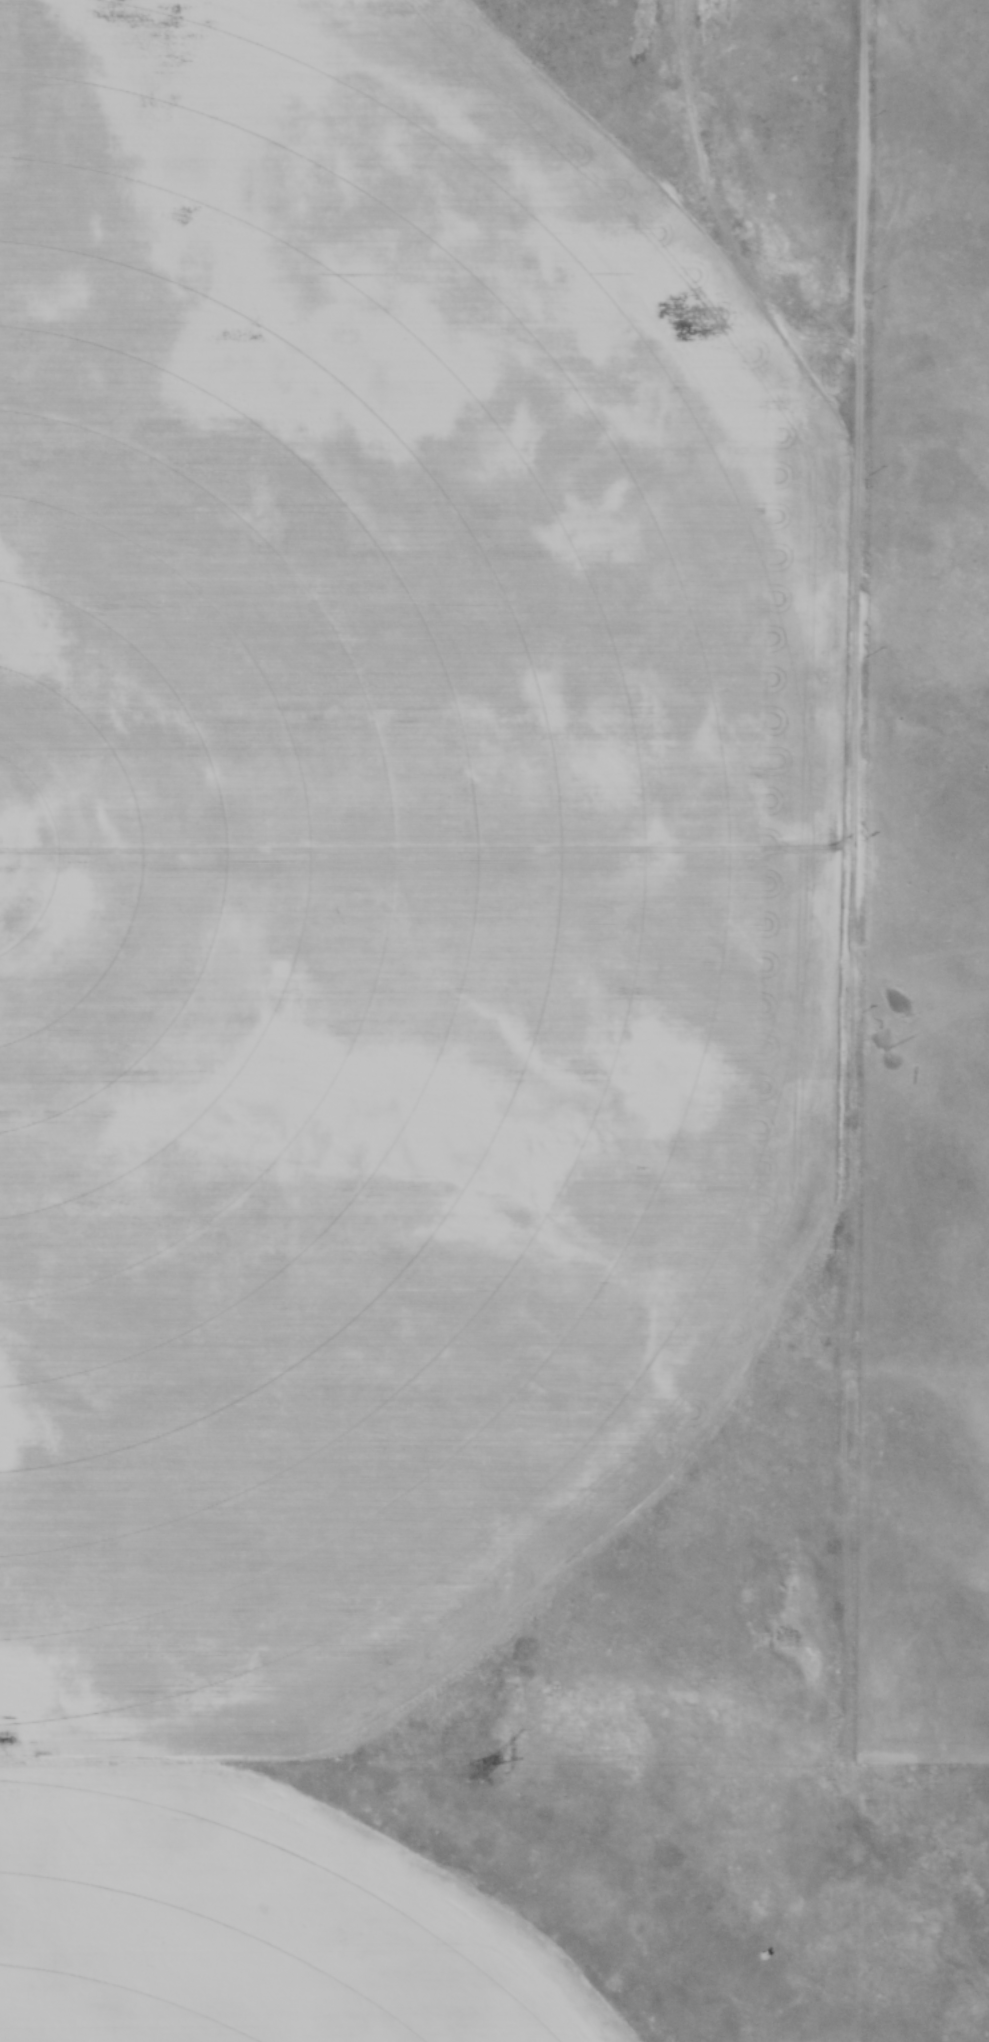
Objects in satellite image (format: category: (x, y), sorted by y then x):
power tower: (471, 1772)

